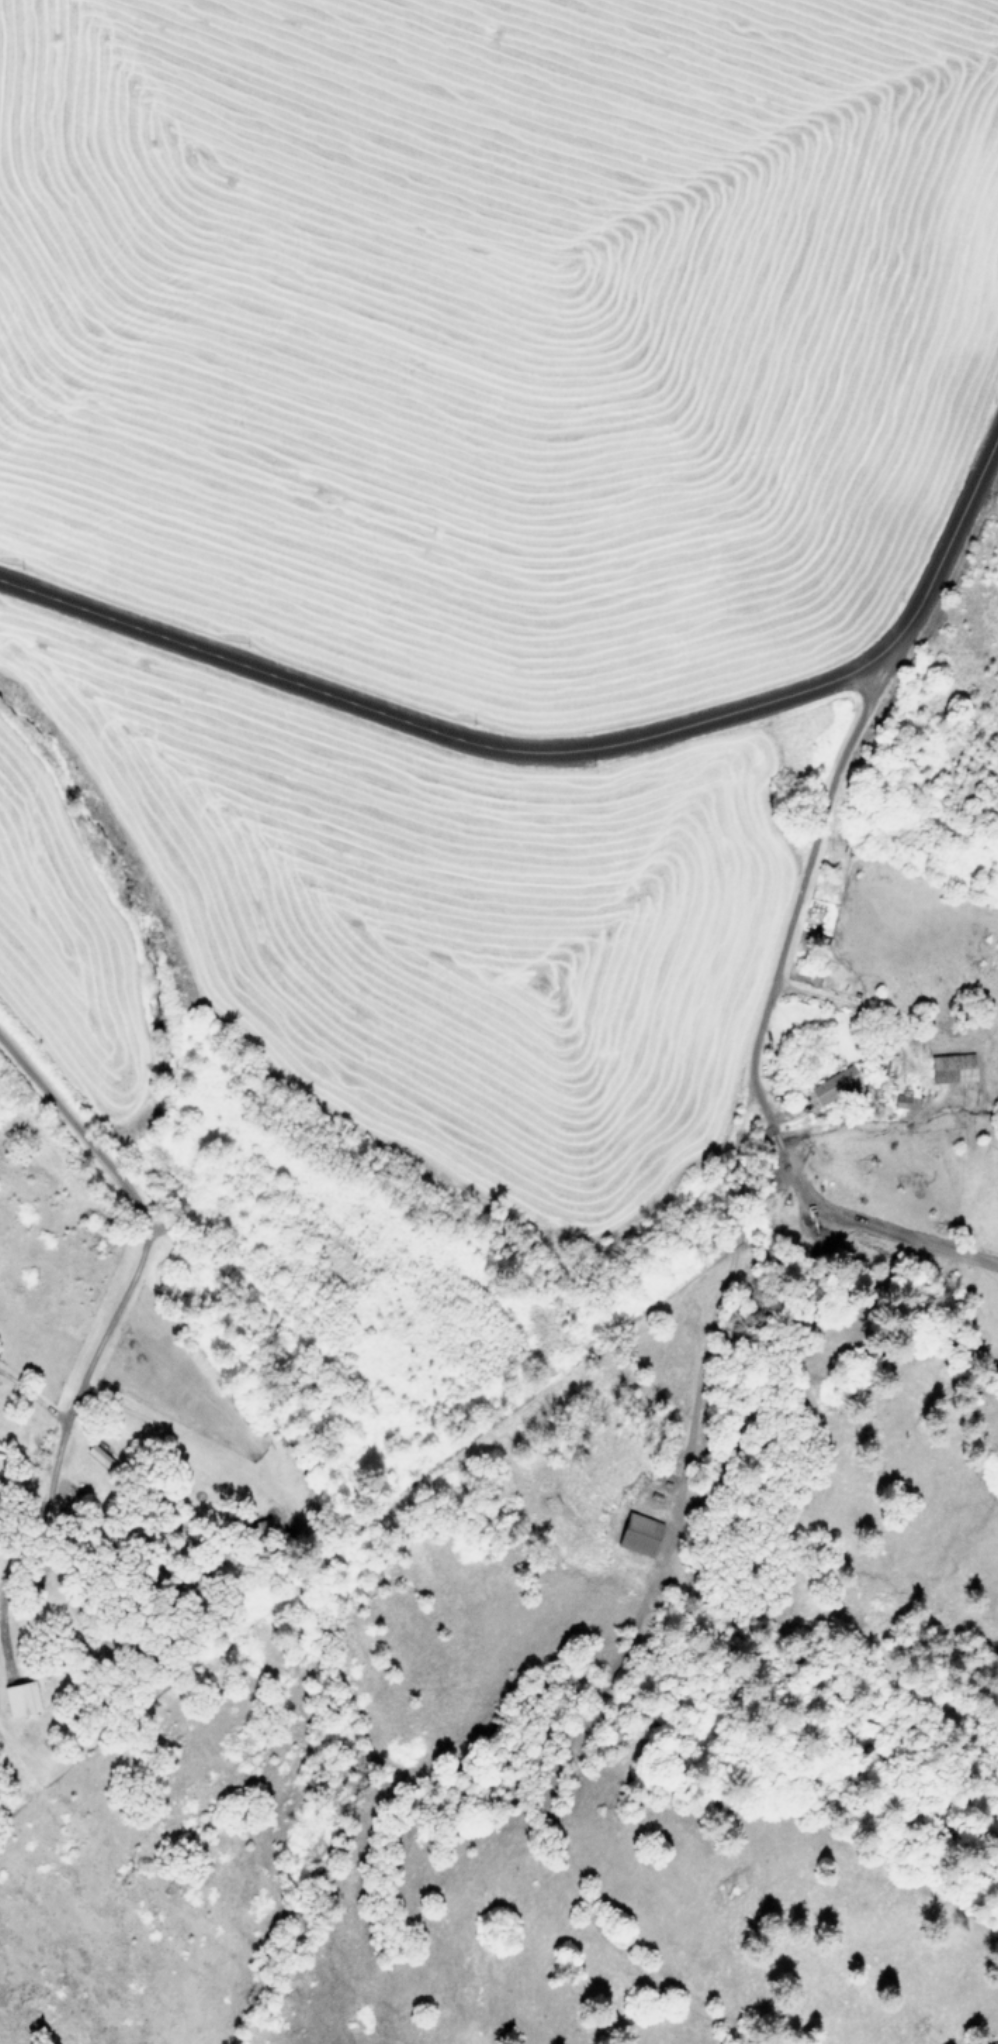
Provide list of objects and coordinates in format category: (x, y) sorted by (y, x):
crop: (427, 595)
road: (557, 745)
road: (803, 875)
building: (831, 1084)
road: (145, 1242)
road: (717, 1293)
road: (35, 1397)
road: (188, 1440)
building: (96, 1455)
building: (635, 1533)
building: (18, 1698)

